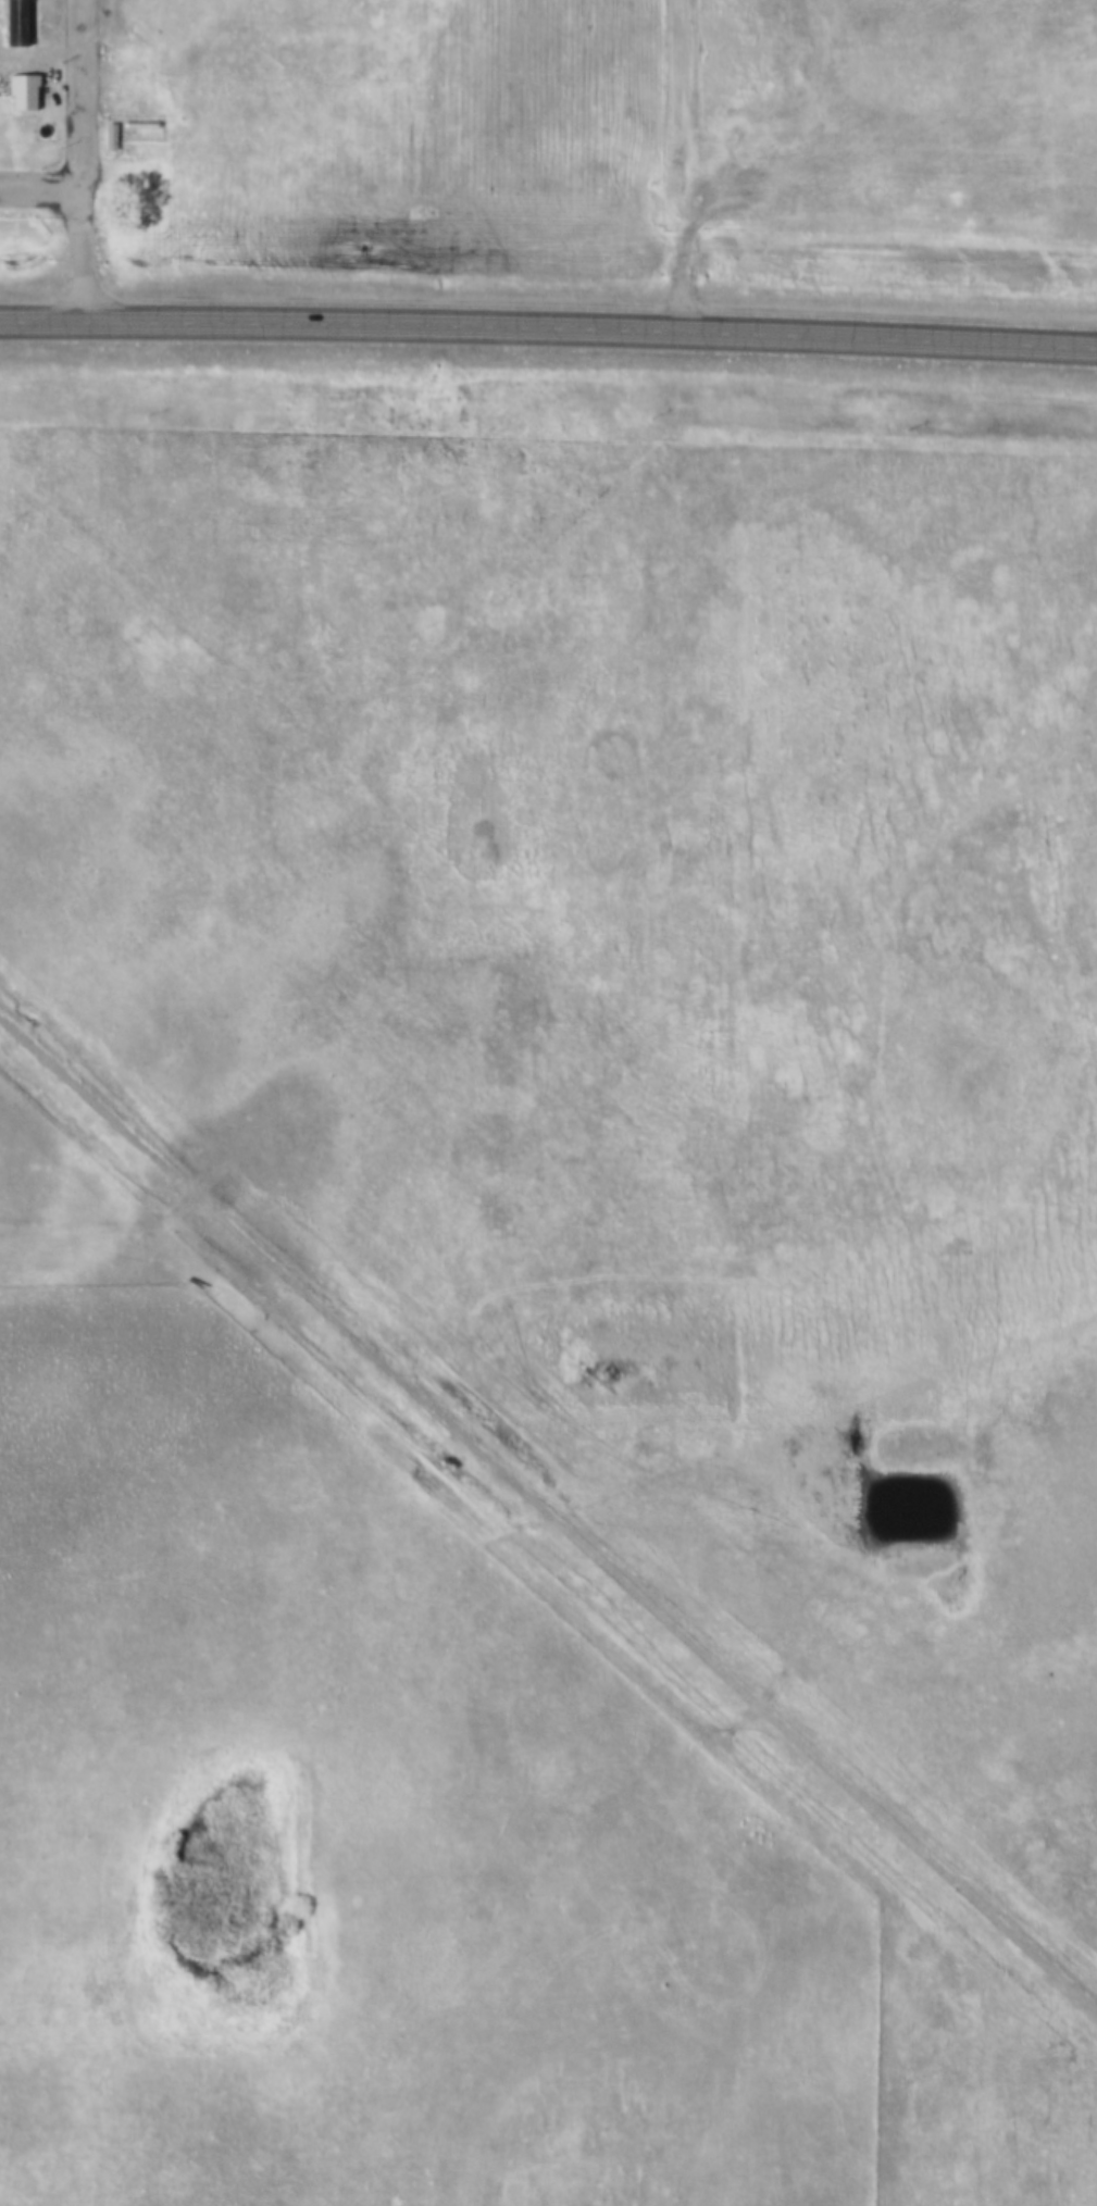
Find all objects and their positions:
building: (10, 23)
building: (16, 89)
building: (104, 135)
building: (114, 139)
road: (82, 157)
road: (691, 162)
road: (41, 185)
road: (548, 322)
road: (104, 1217)

